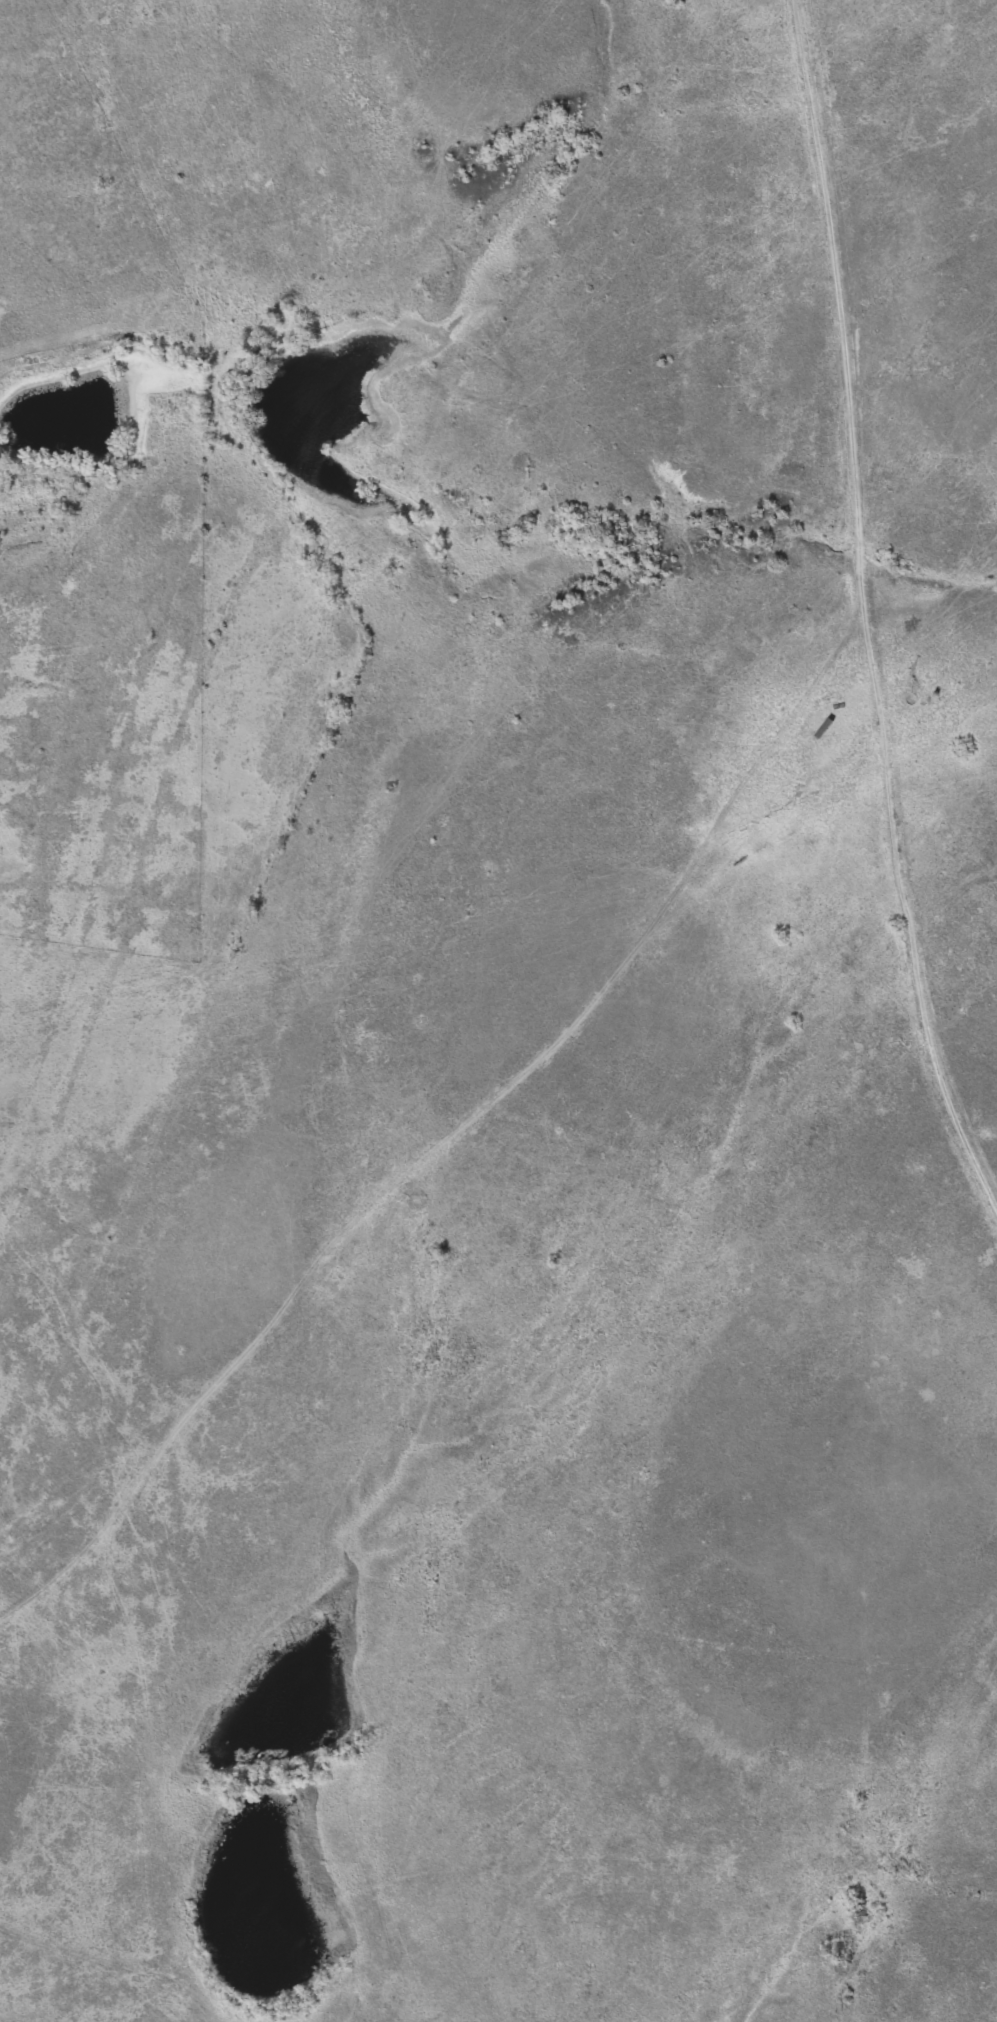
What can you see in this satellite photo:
road: (864, 609)
road: (453, 1128)
road: (100, 1968)

